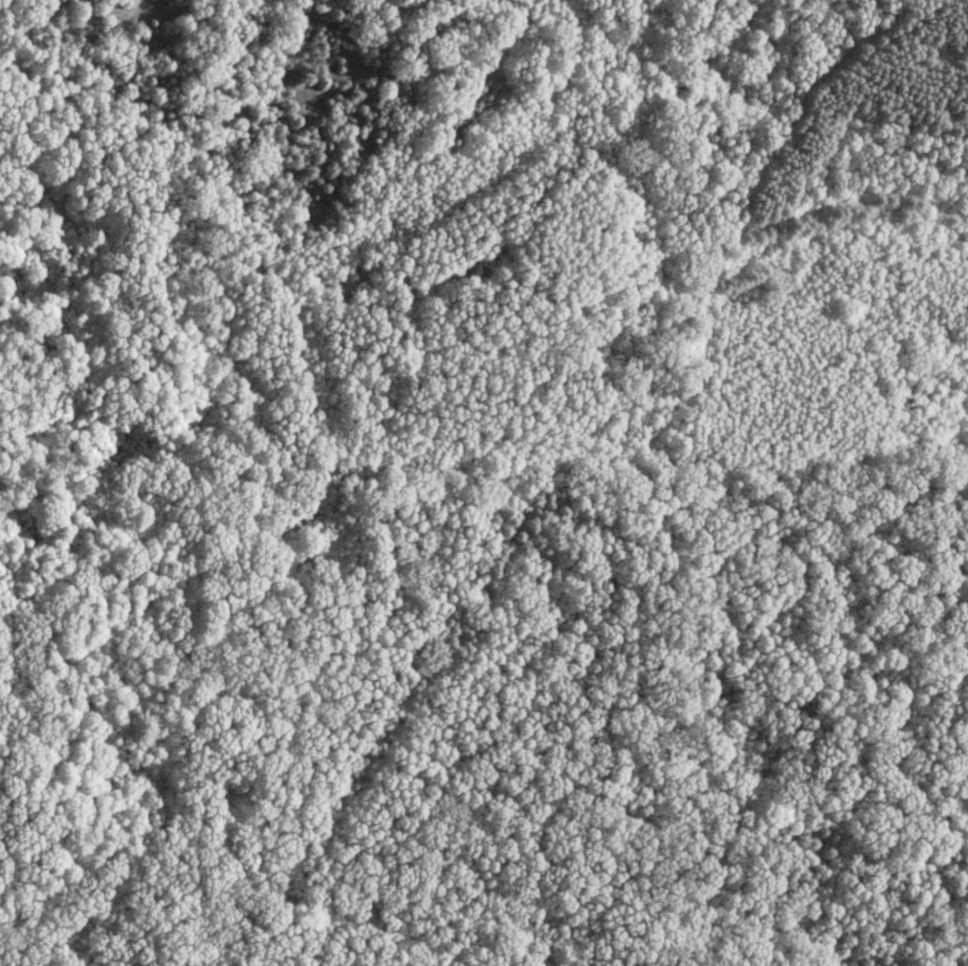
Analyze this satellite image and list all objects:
road: (94, 921)

